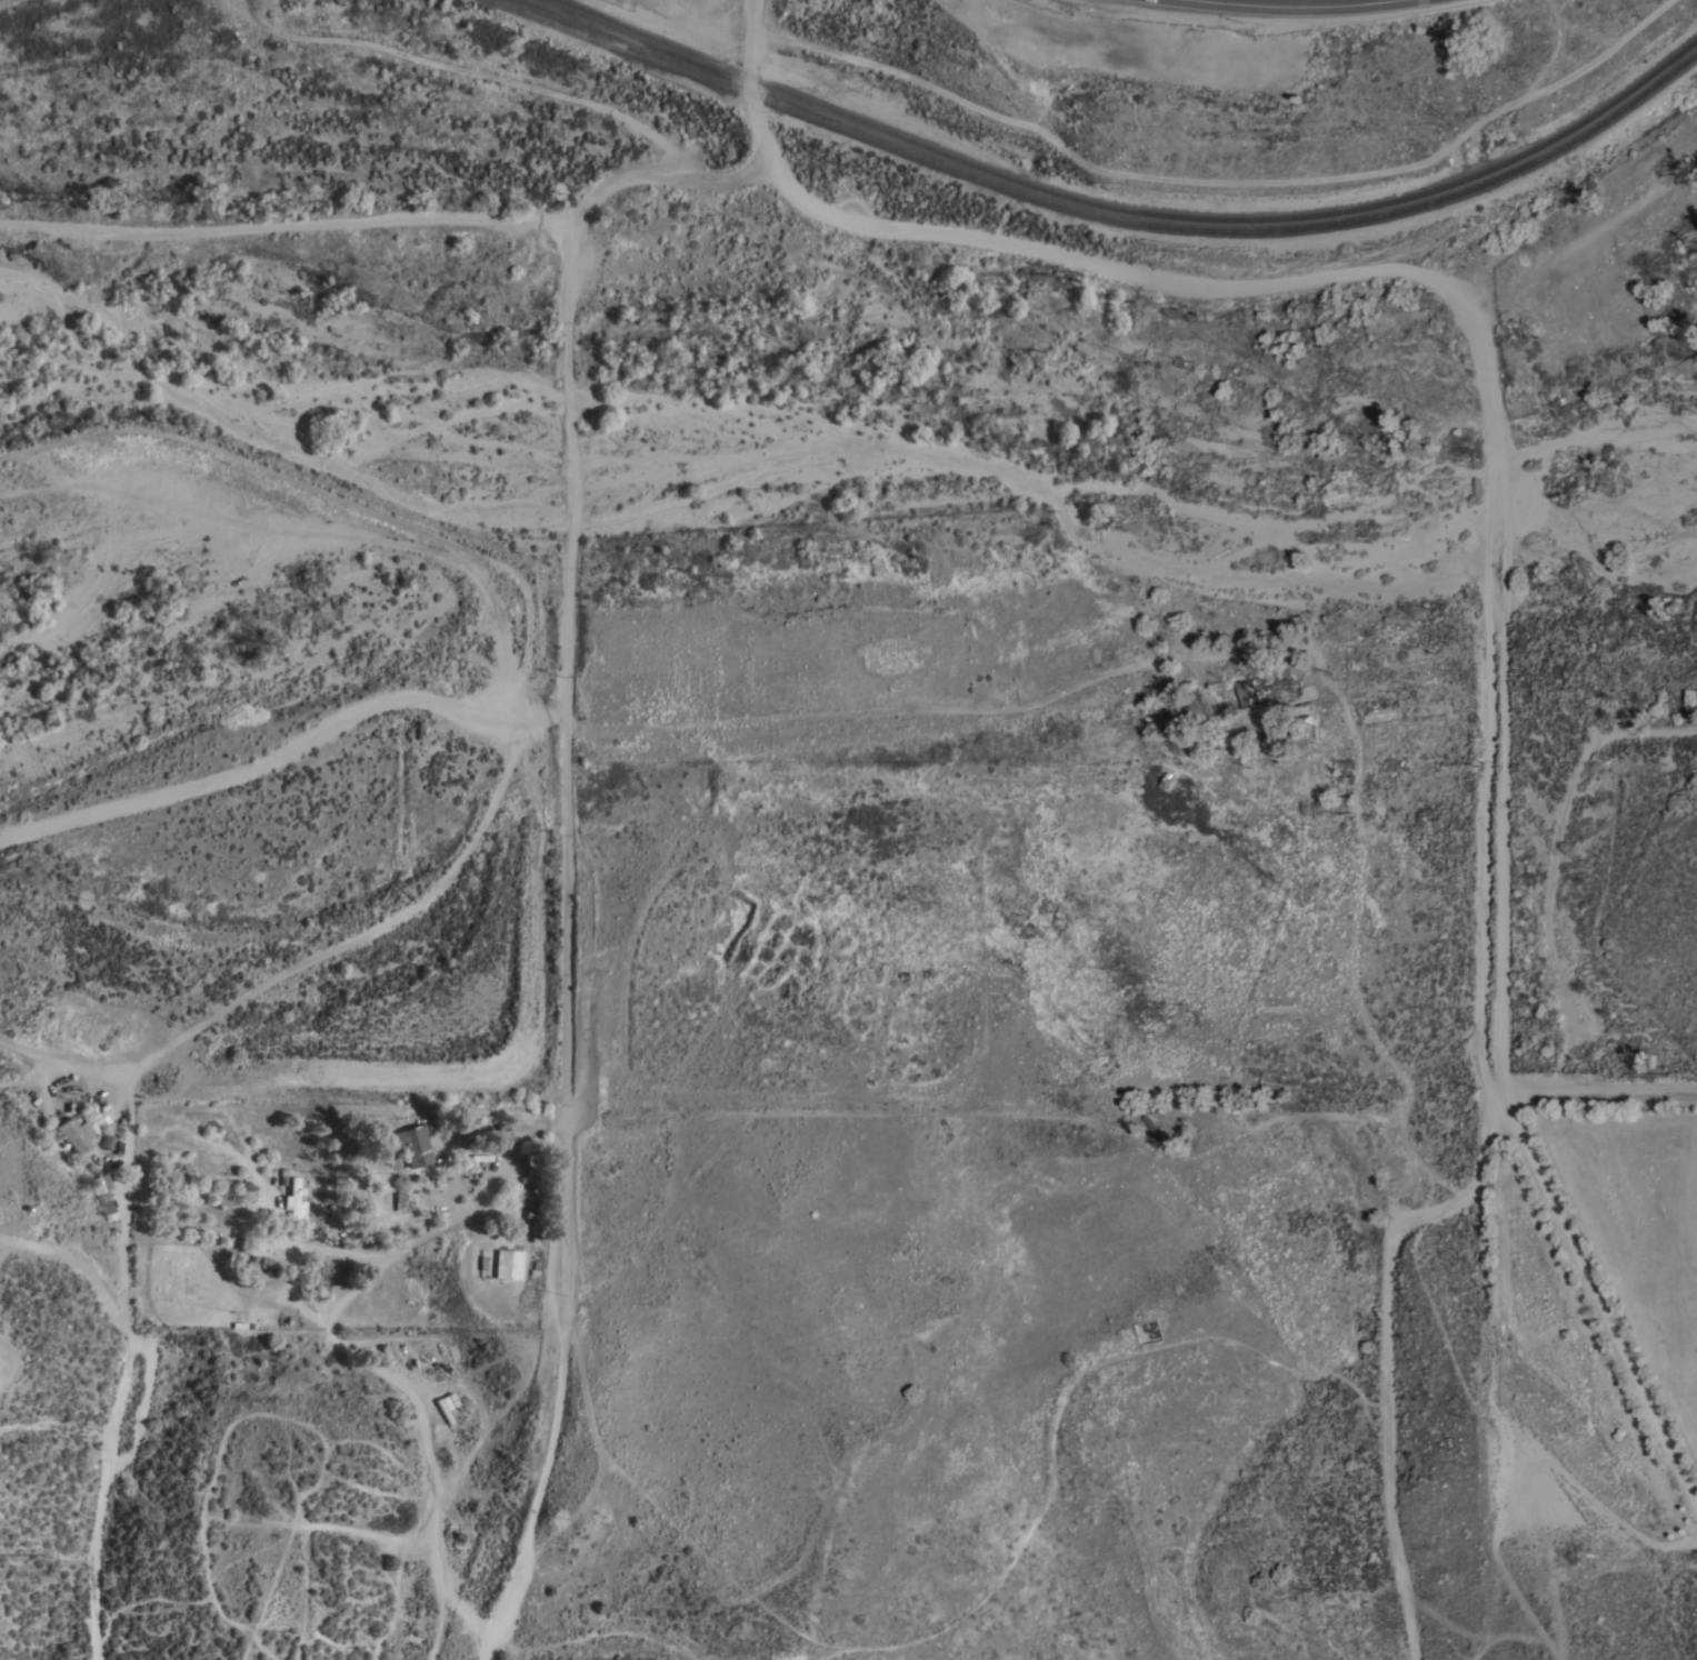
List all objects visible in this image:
road: (1271, 3)
road: (749, 83)
road: (661, 174)
railway: (1130, 210)
railway: (1112, 218)
road: (286, 228)
road: (1590, 242)
road: (1483, 321)
road: (570, 423)
road: (331, 497)
road: (317, 536)
road: (566, 678)
building: (1266, 689)
road: (932, 709)
building: (1326, 727)
road: (271, 760)
building: (1342, 806)
road: (1554, 859)
road: (311, 962)
road: (503, 1072)
road: (1596, 1086)
road: (1034, 1116)
building: (78, 1131)
building: (108, 1140)
building: (407, 1144)
building: (104, 1196)
building: (293, 1201)
building: (397, 1201)
road: (565, 1204)
road: (442, 1230)
building: (507, 1264)
road: (1596, 1300)
road: (1385, 1348)
road: (147, 1382)
building: (446, 1400)
road: (116, 1416)
road: (421, 1421)

